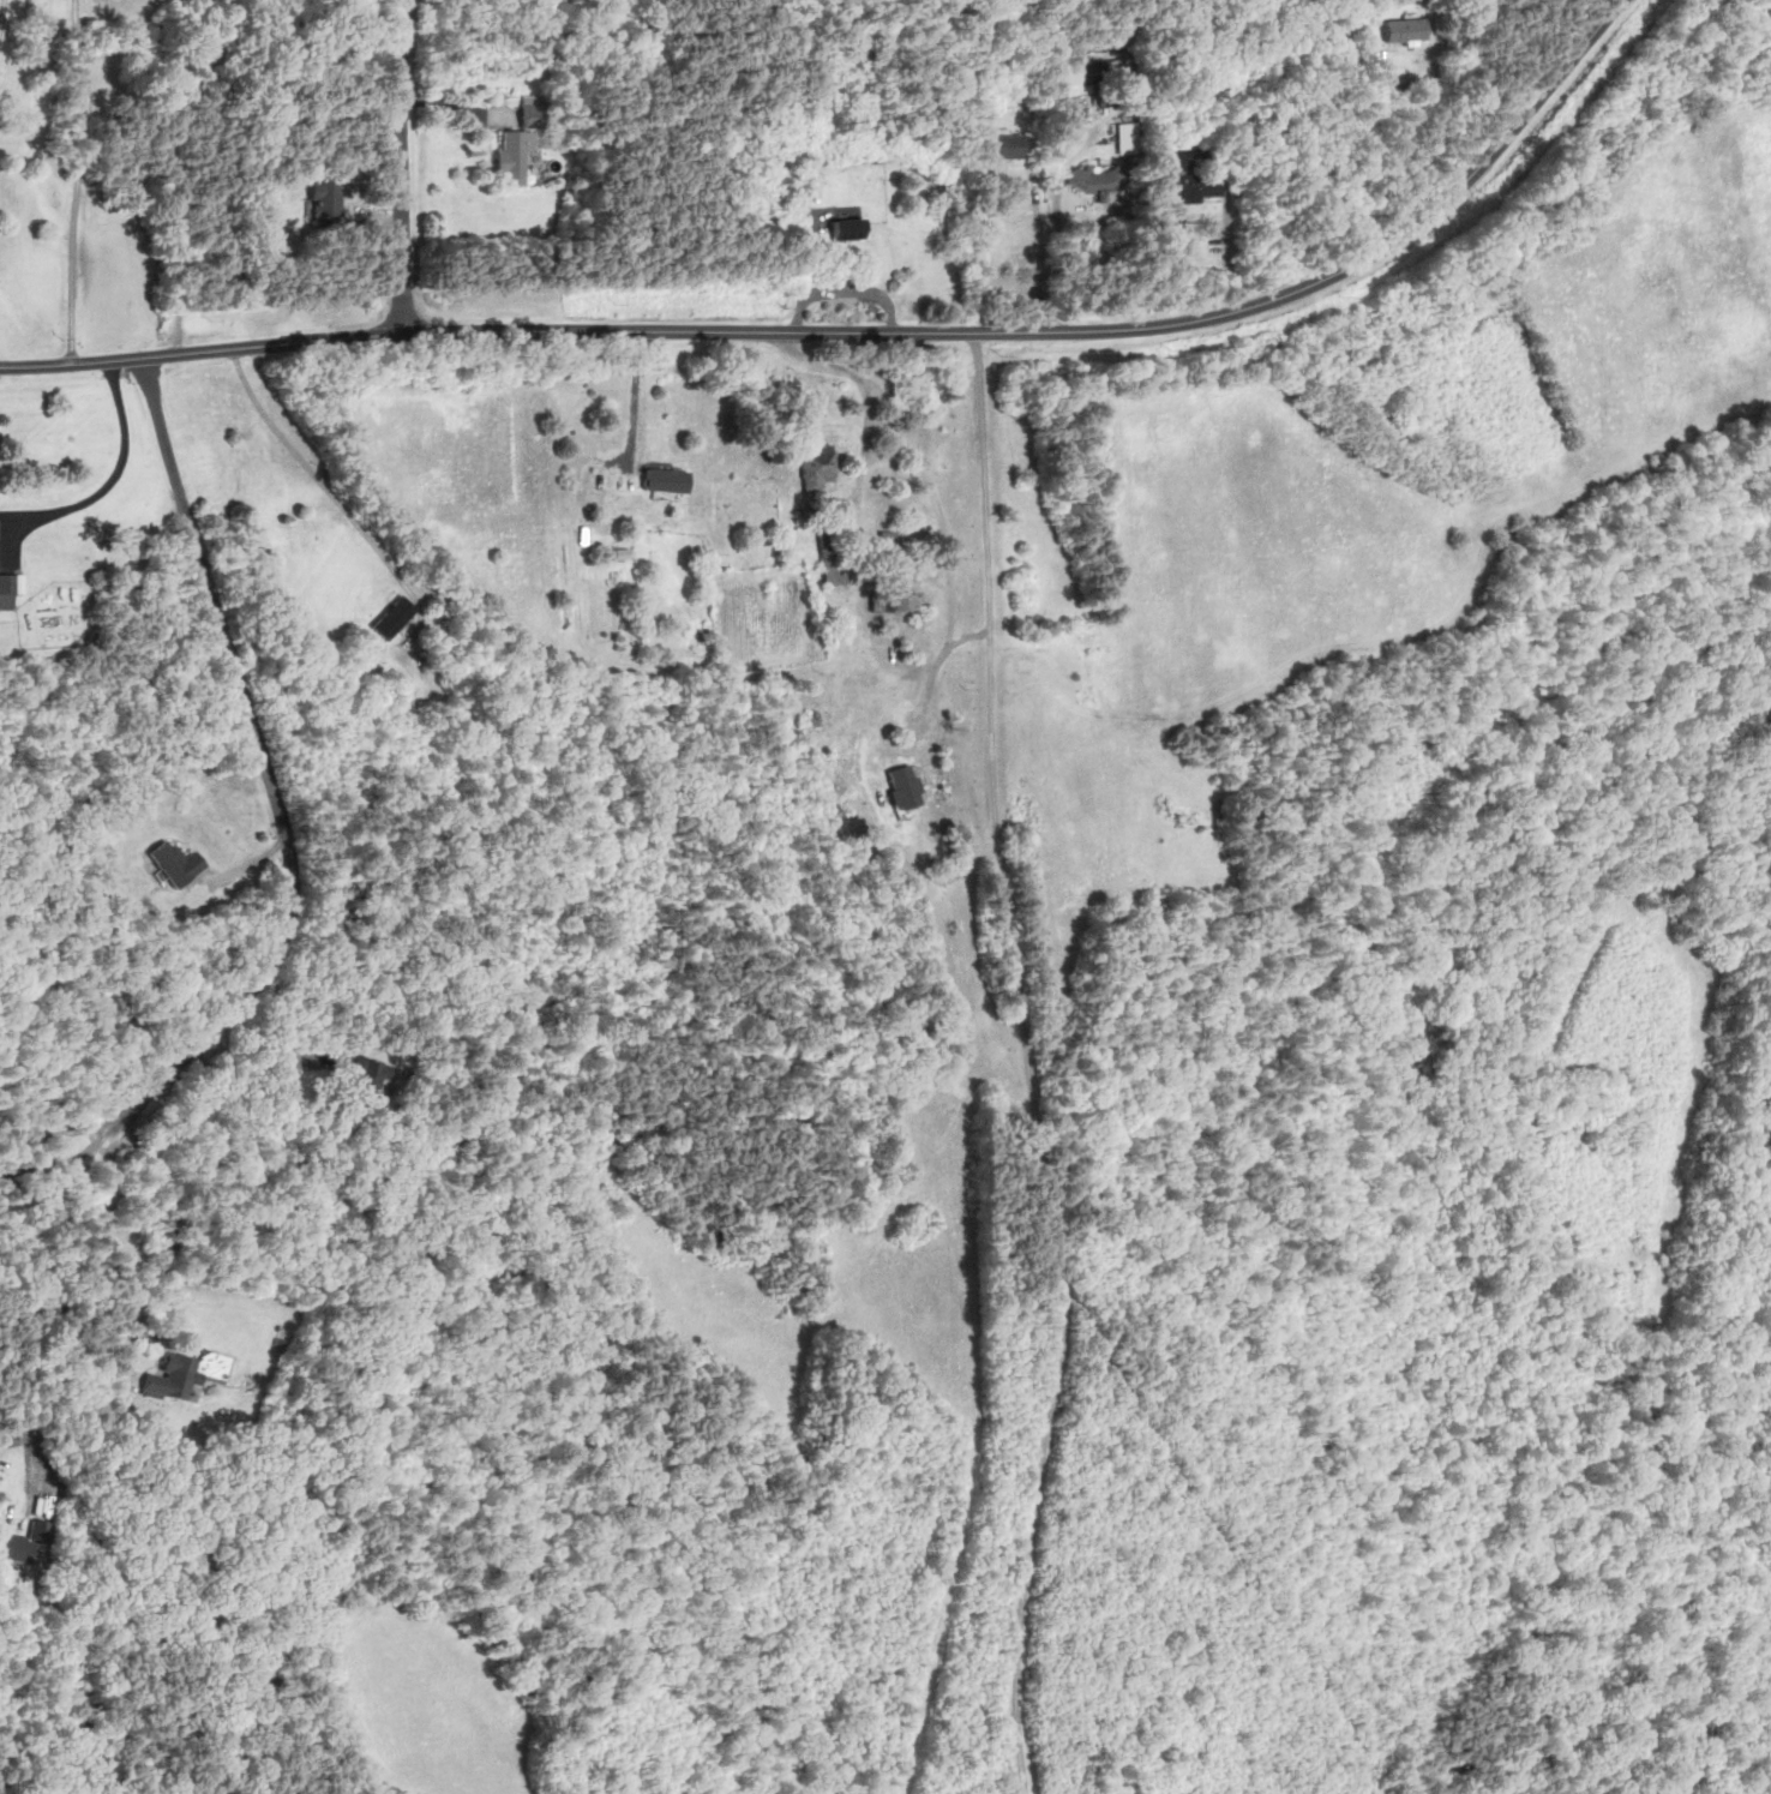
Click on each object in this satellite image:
road: (1, 11)
building: (1399, 29)
building: (1095, 72)
building: (532, 113)
road: (1416, 128)
building: (1001, 148)
building: (514, 157)
road: (400, 166)
road: (190, 174)
building: (1183, 176)
road: (77, 180)
building: (1093, 180)
building: (325, 203)
road: (1061, 210)
building: (848, 230)
road: (870, 330)
road: (864, 390)
building: (221, 398)
road: (636, 400)
road: (311, 466)
building: (817, 468)
road: (114, 474)
building: (646, 508)
building: (887, 542)
building: (829, 553)
building: (10, 590)
building: (906, 604)
building: (394, 618)
road: (266, 768)
building: (178, 864)
road: (1027, 1064)
building: (367, 1073)
road: (260, 1092)
road: (56, 1132)
road: (60, 1160)
road: (59, 1308)
building: (172, 1379)
road: (1217, 1535)
building: (23, 1543)
building: (1121, 1783)

